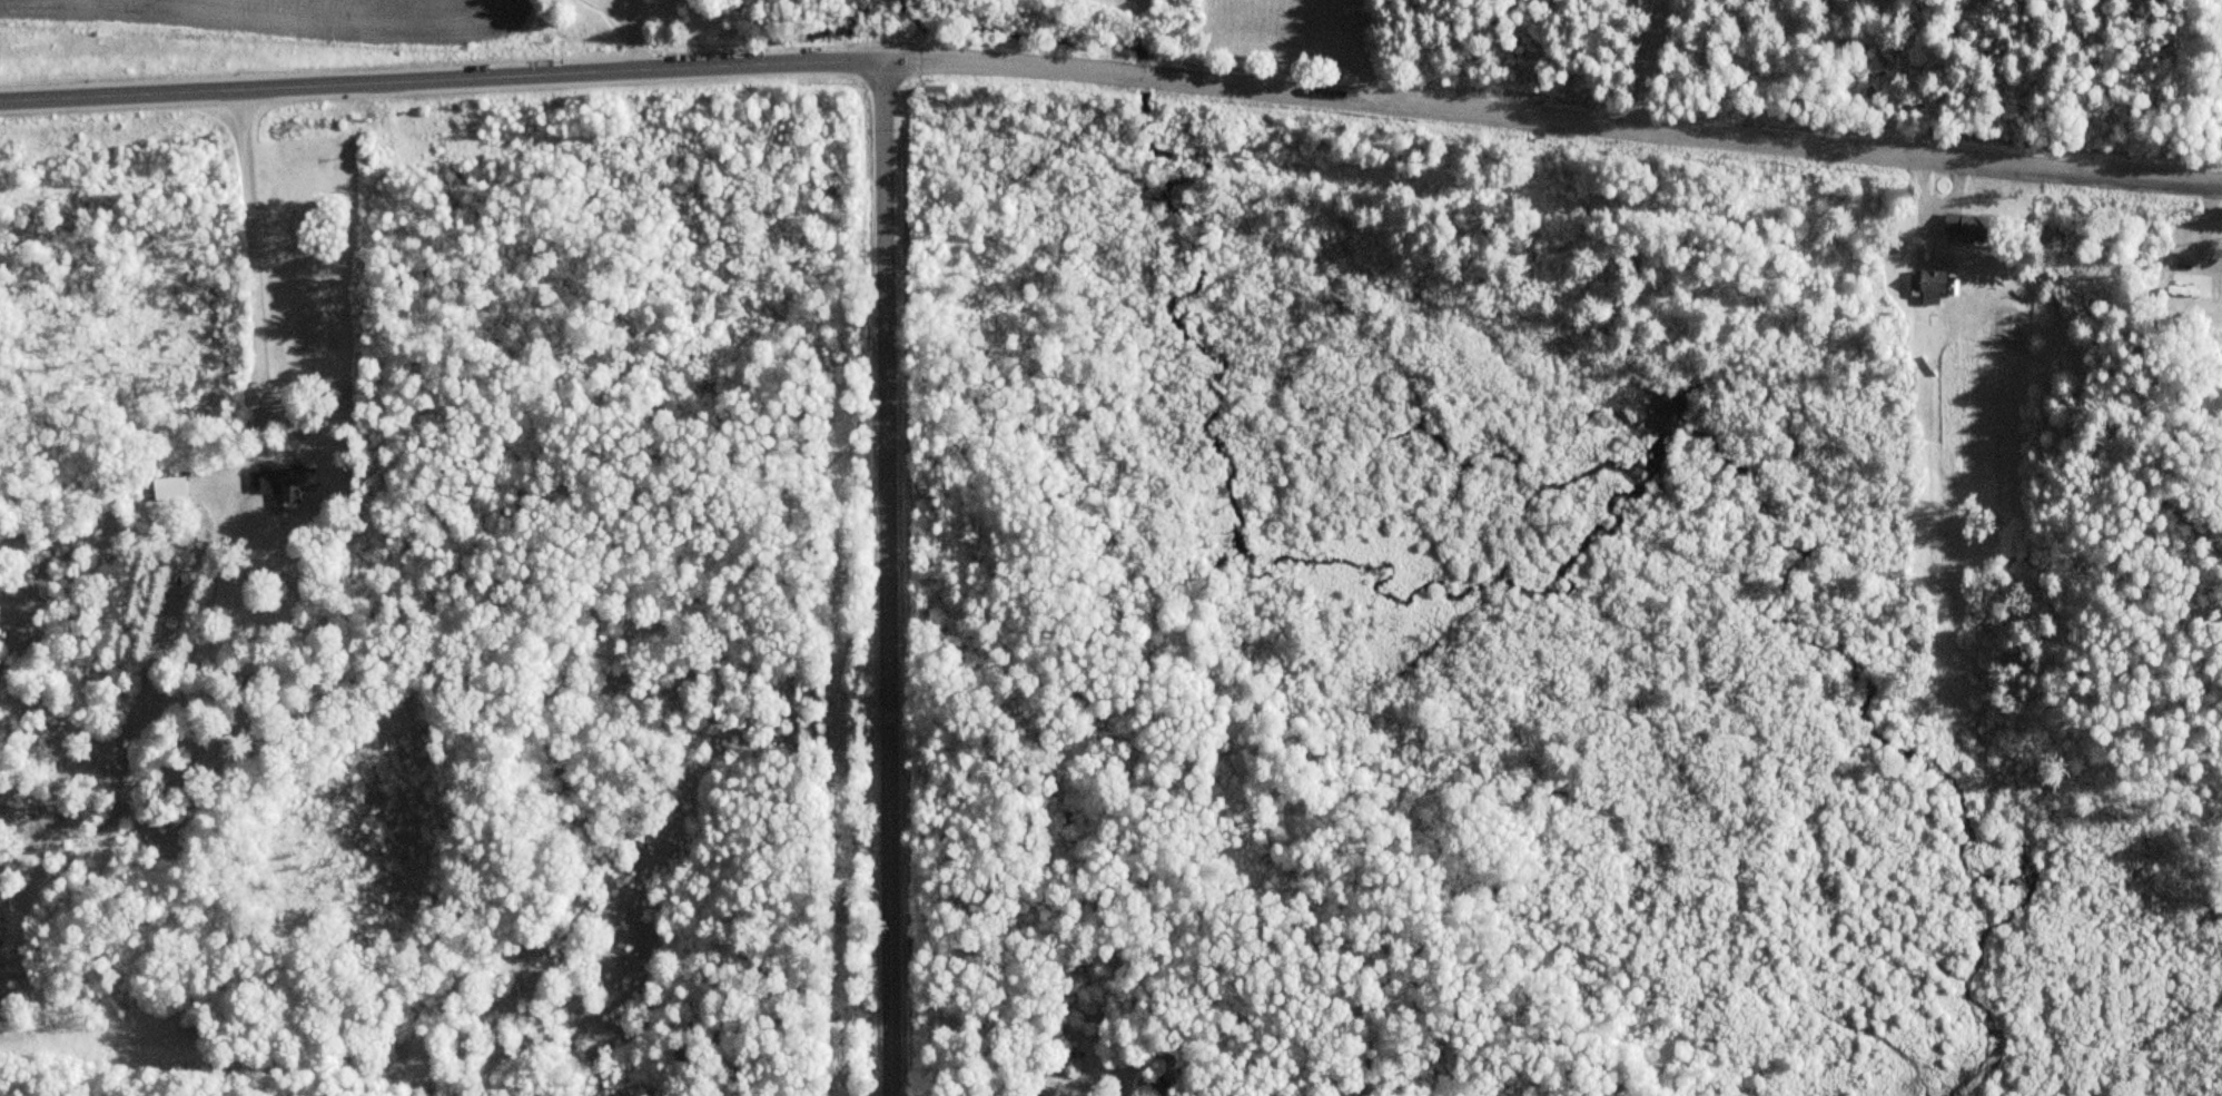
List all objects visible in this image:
road: (1113, 72)
building: (1965, 228)
building: (1925, 283)
building: (2188, 286)
road: (253, 287)
building: (280, 483)
building: (166, 490)
road: (883, 579)
building: (1041, 1082)

